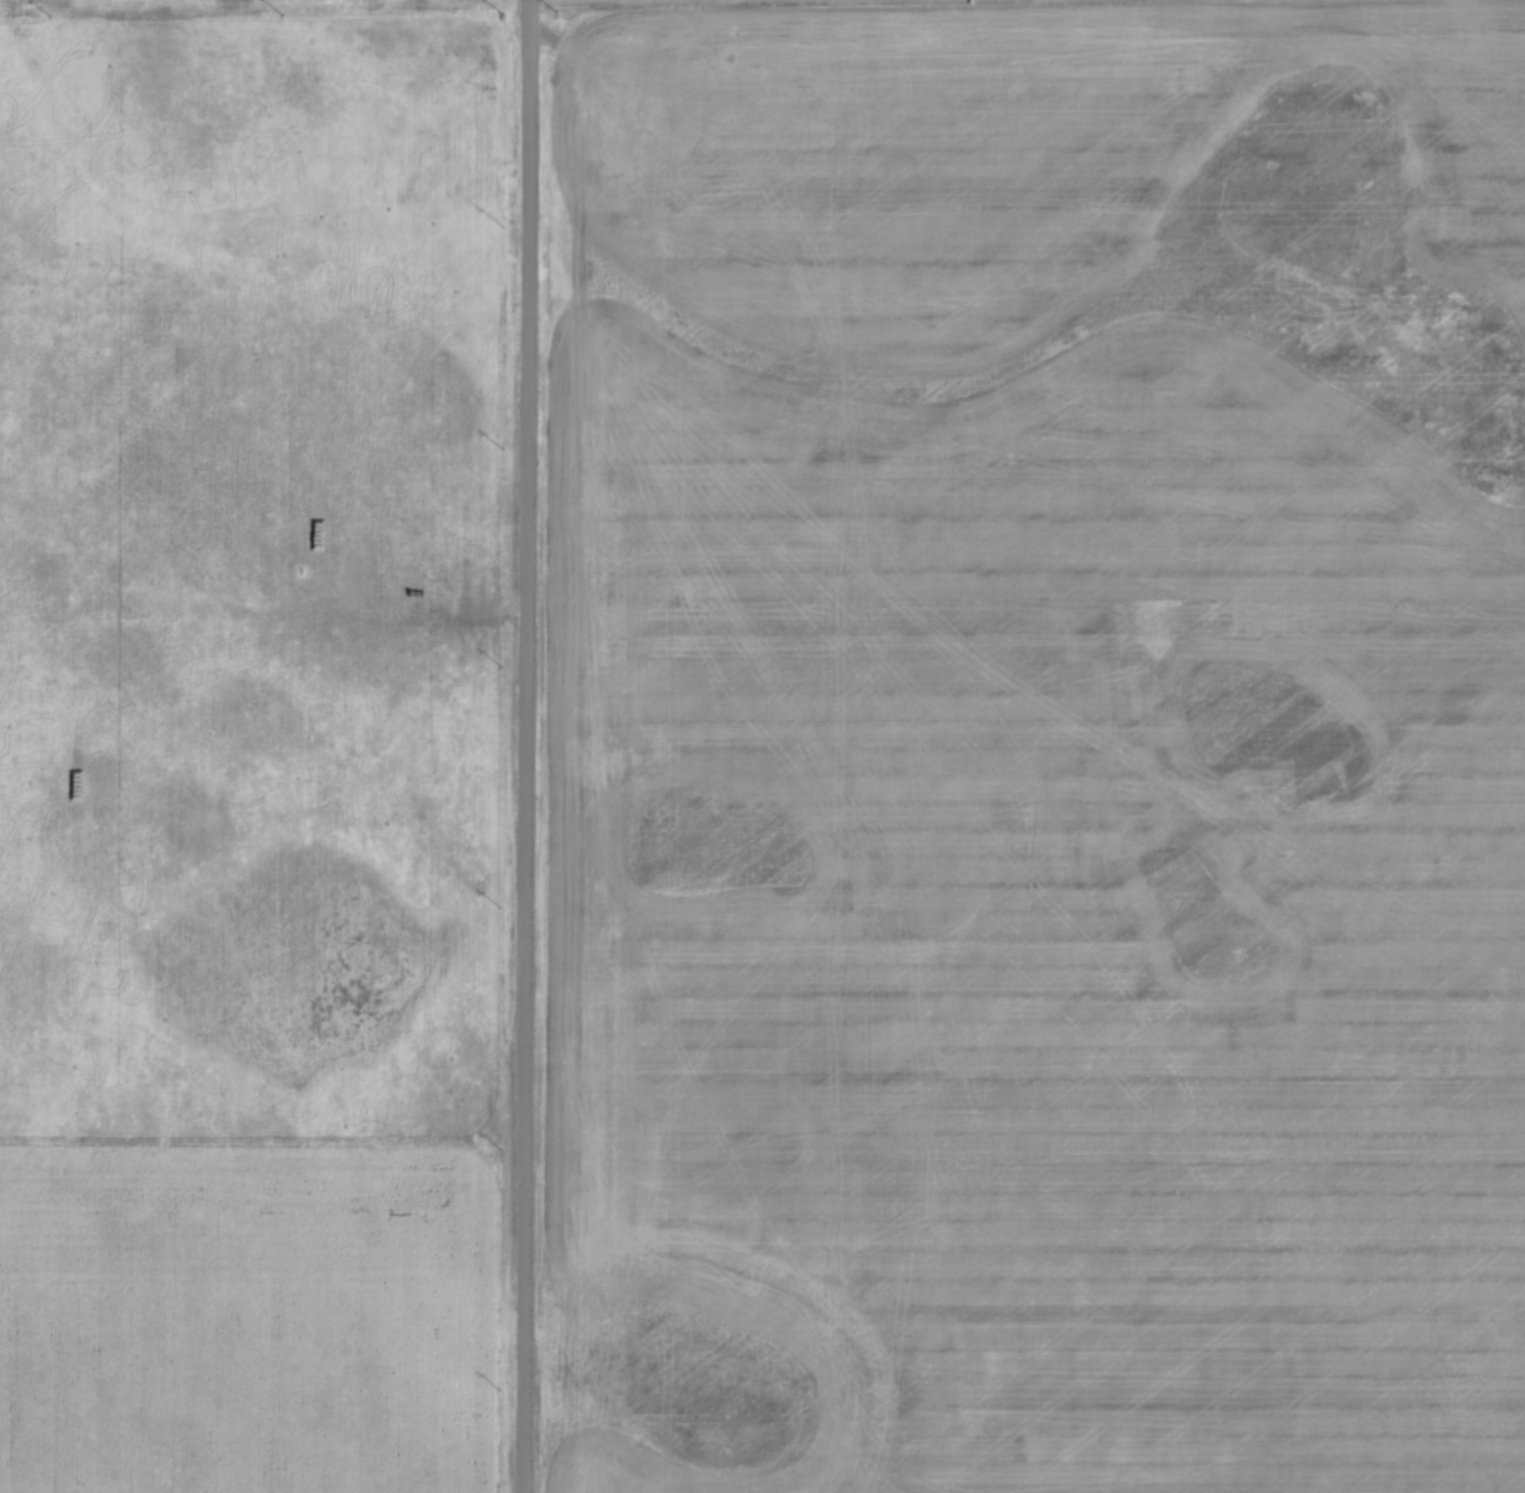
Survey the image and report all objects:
road: (527, 746)

